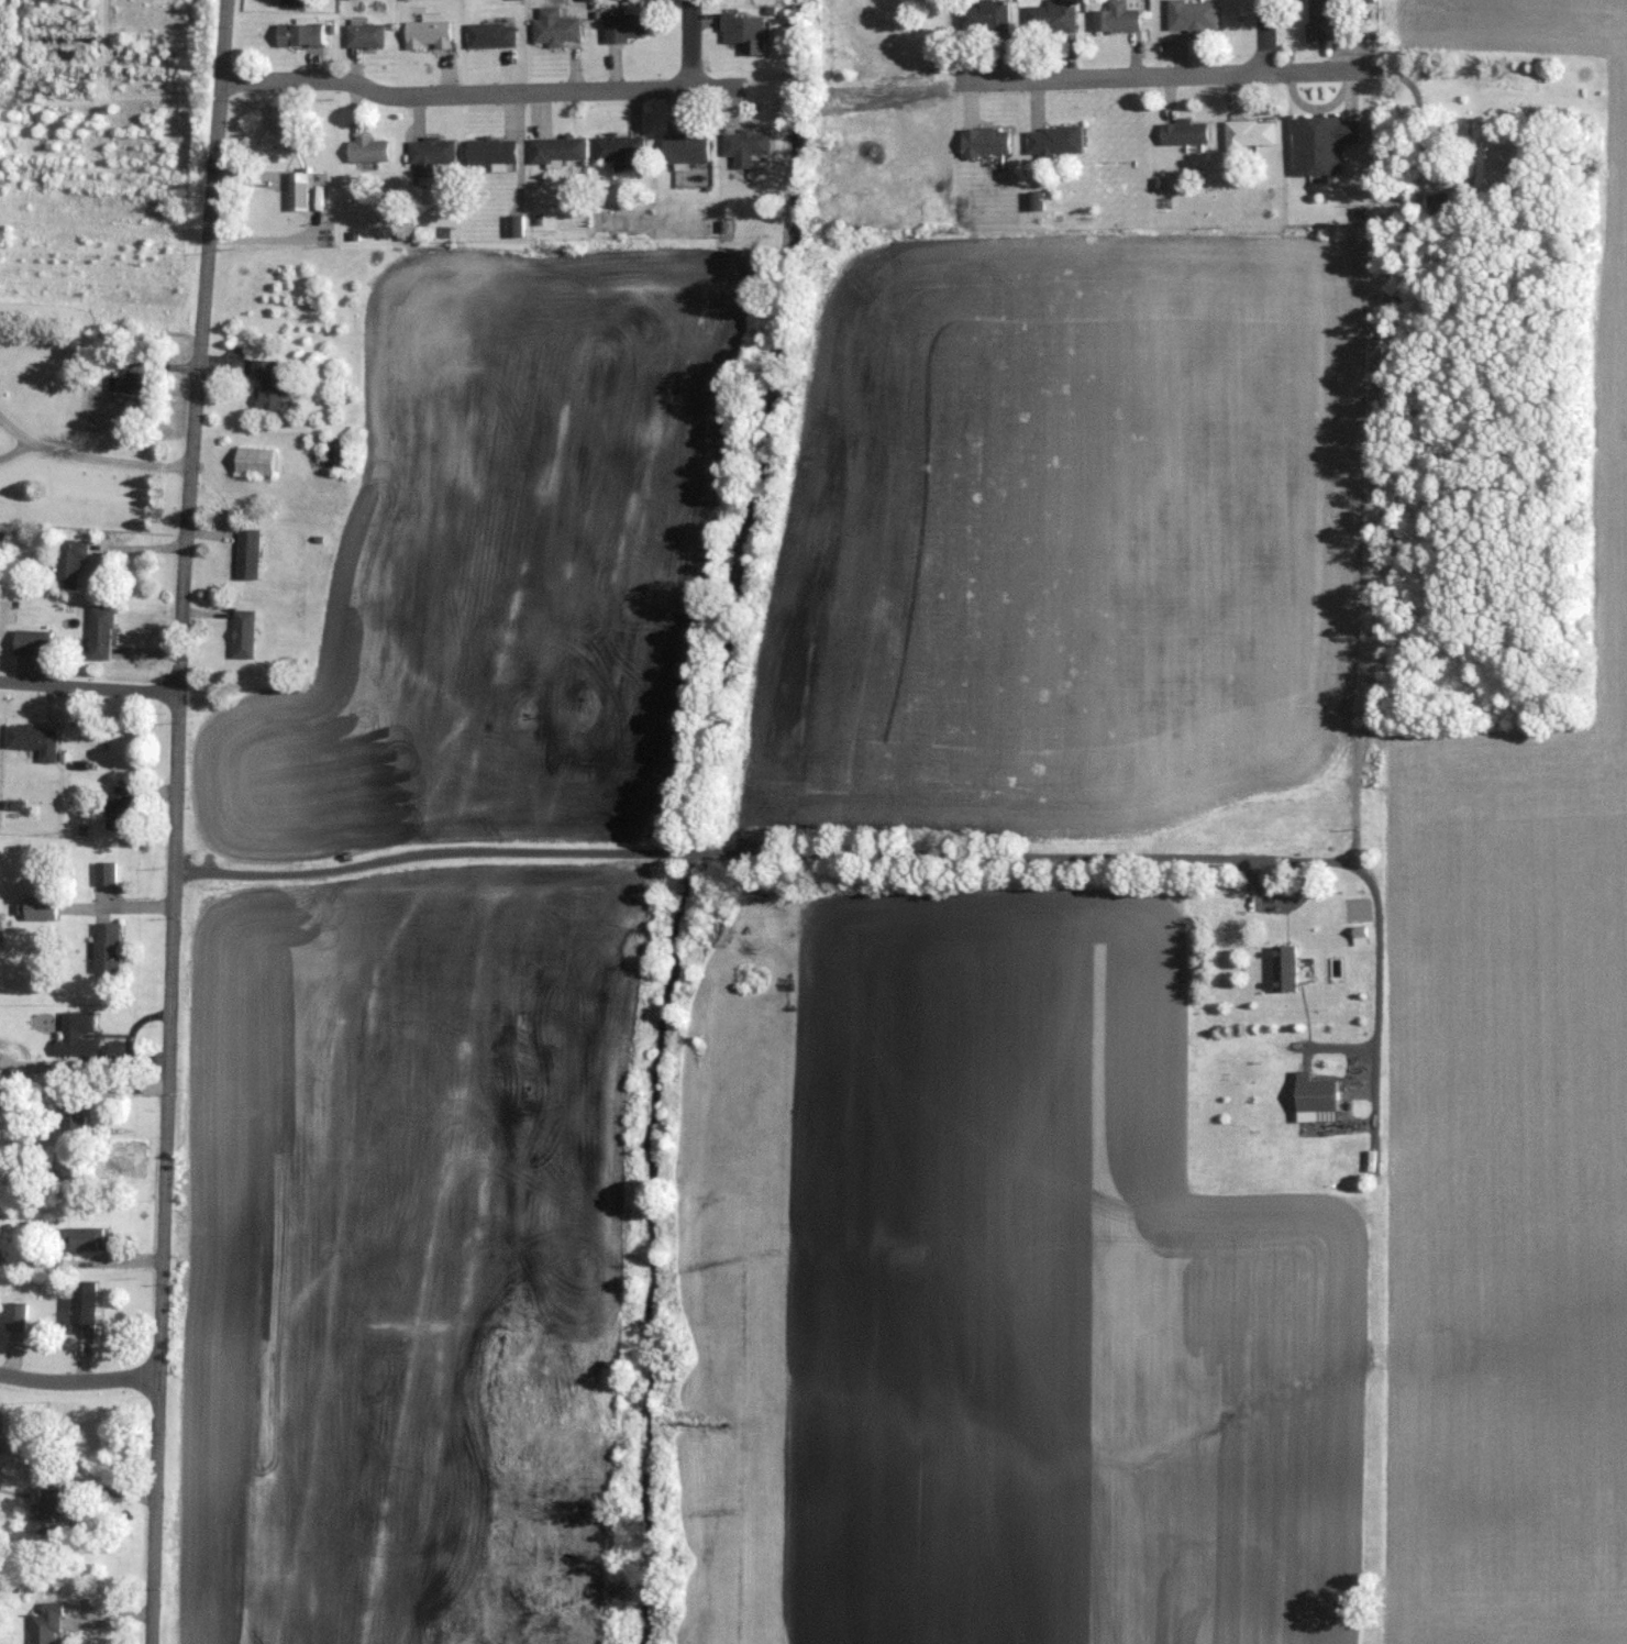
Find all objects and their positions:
building: (291, 2)
building: (1191, 15)
building: (984, 16)
building: (1050, 16)
building: (1116, 16)
building: (1324, 21)
building: (623, 26)
building: (553, 27)
building: (743, 31)
building: (298, 34)
building: (425, 34)
building: (489, 34)
building: (363, 35)
road: (1265, 36)
road: (691, 44)
road: (1317, 70)
road: (1115, 76)
road: (455, 93)
building: (281, 126)
building: (1182, 132)
building: (1248, 134)
building: (1053, 141)
building: (984, 142)
building: (1320, 144)
building: (745, 145)
building: (366, 148)
building: (556, 148)
building: (684, 148)
building: (490, 150)
building: (618, 150)
building: (428, 155)
building: (1504, 169)
building: (297, 191)
building: (1033, 201)
building: (511, 224)
building: (114, 341)
building: (131, 383)
building: (269, 385)
road: (13, 450)
building: (335, 453)
road: (88, 459)
building: (254, 462)
building: (1, 540)
building: (247, 553)
building: (69, 563)
building: (100, 631)
building: (243, 633)
building: (32, 641)
road: (89, 686)
building: (33, 738)
building: (119, 806)
road: (176, 820)
road: (701, 850)
road: (431, 852)
road: (1154, 853)
building: (104, 872)
building: (38, 906)
building: (106, 946)
building: (1285, 968)
building: (77, 1035)
building: (1316, 1097)
building: (70, 1107)
building: (84, 1237)
building: (82, 1306)
road: (80, 1379)
road: (76, 1479)
building: (47, 1510)
building: (44, 1628)

